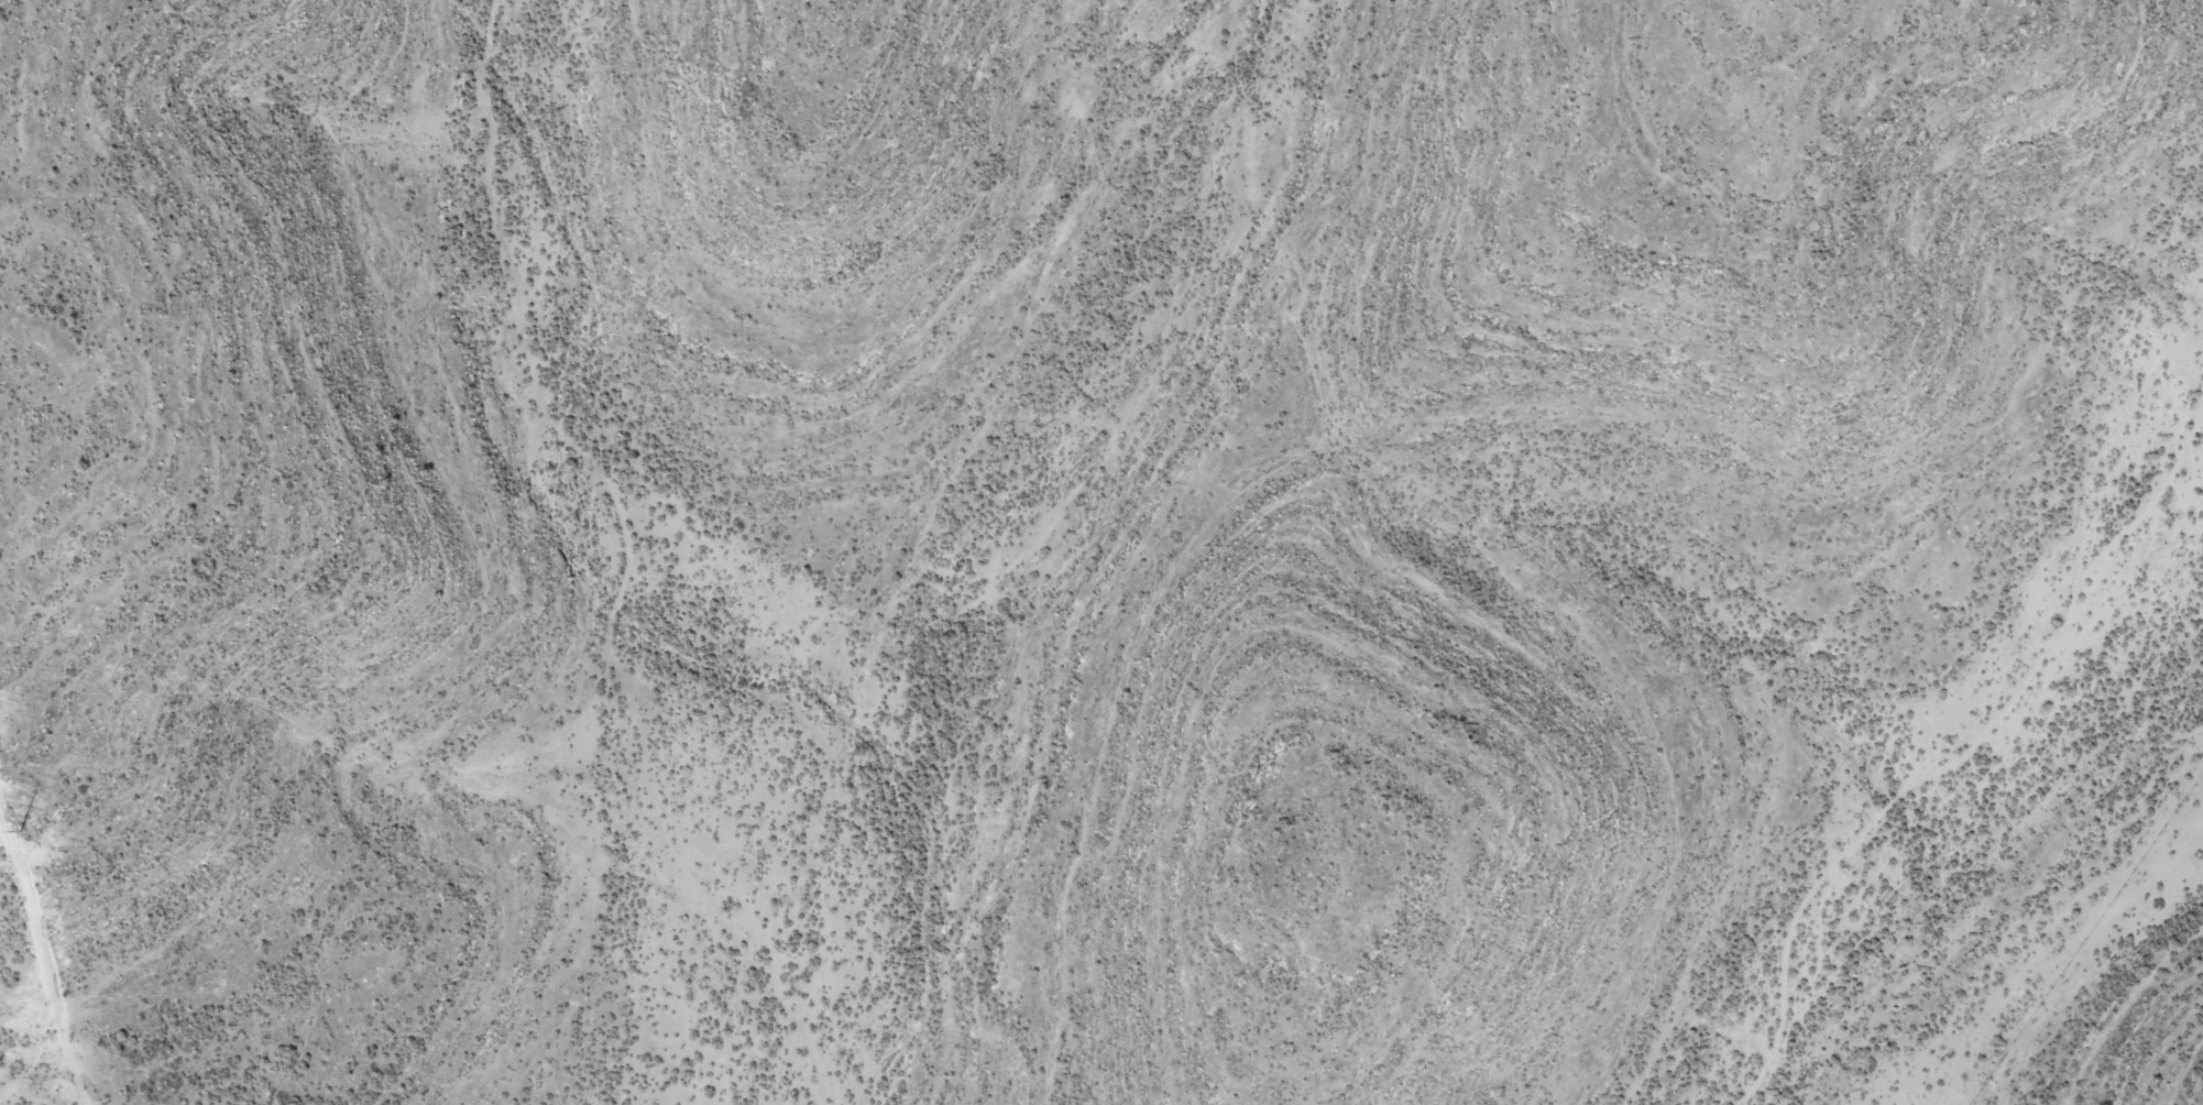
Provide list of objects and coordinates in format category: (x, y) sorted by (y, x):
road: (1954, 755)
power tower: (21, 831)

